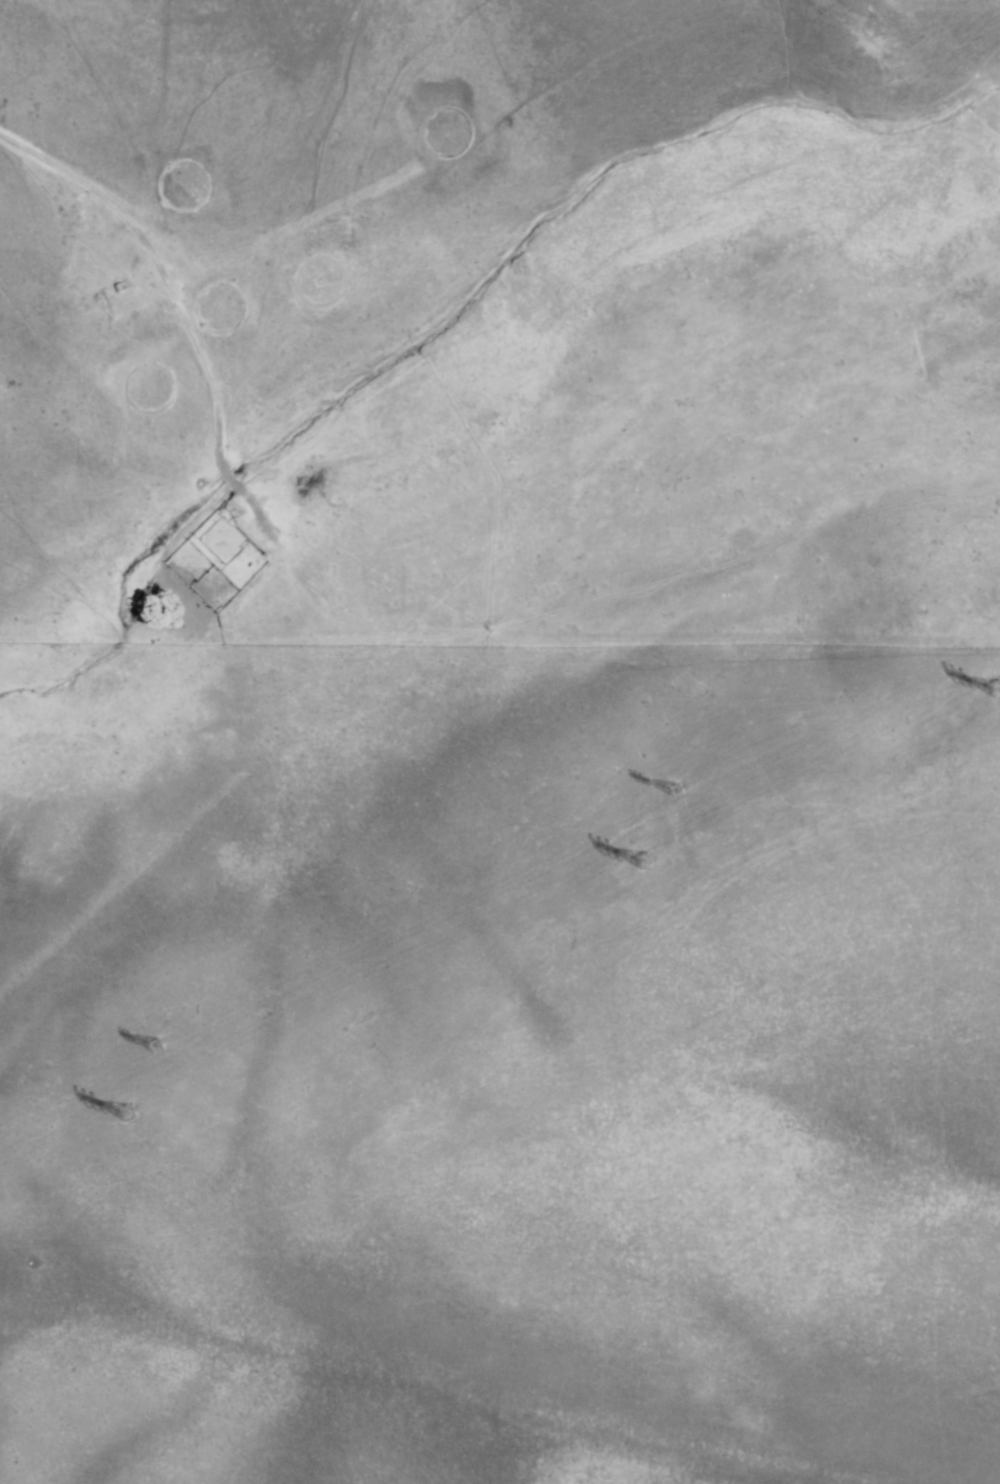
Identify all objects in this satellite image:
road: (117, 696)
power tower: (680, 796)
power tower: (692, 855)
power tower: (163, 1050)
power tower: (175, 1113)

